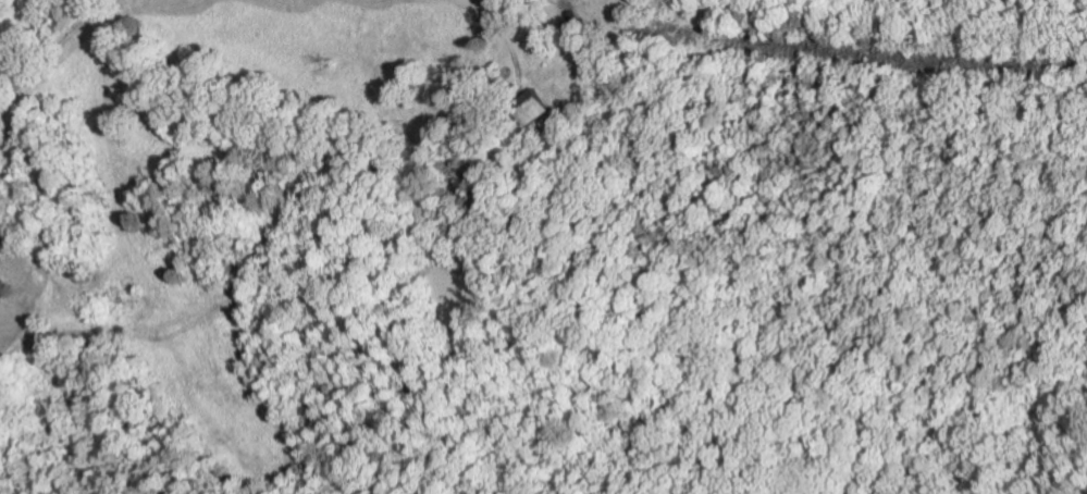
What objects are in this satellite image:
road: (54, 45)

